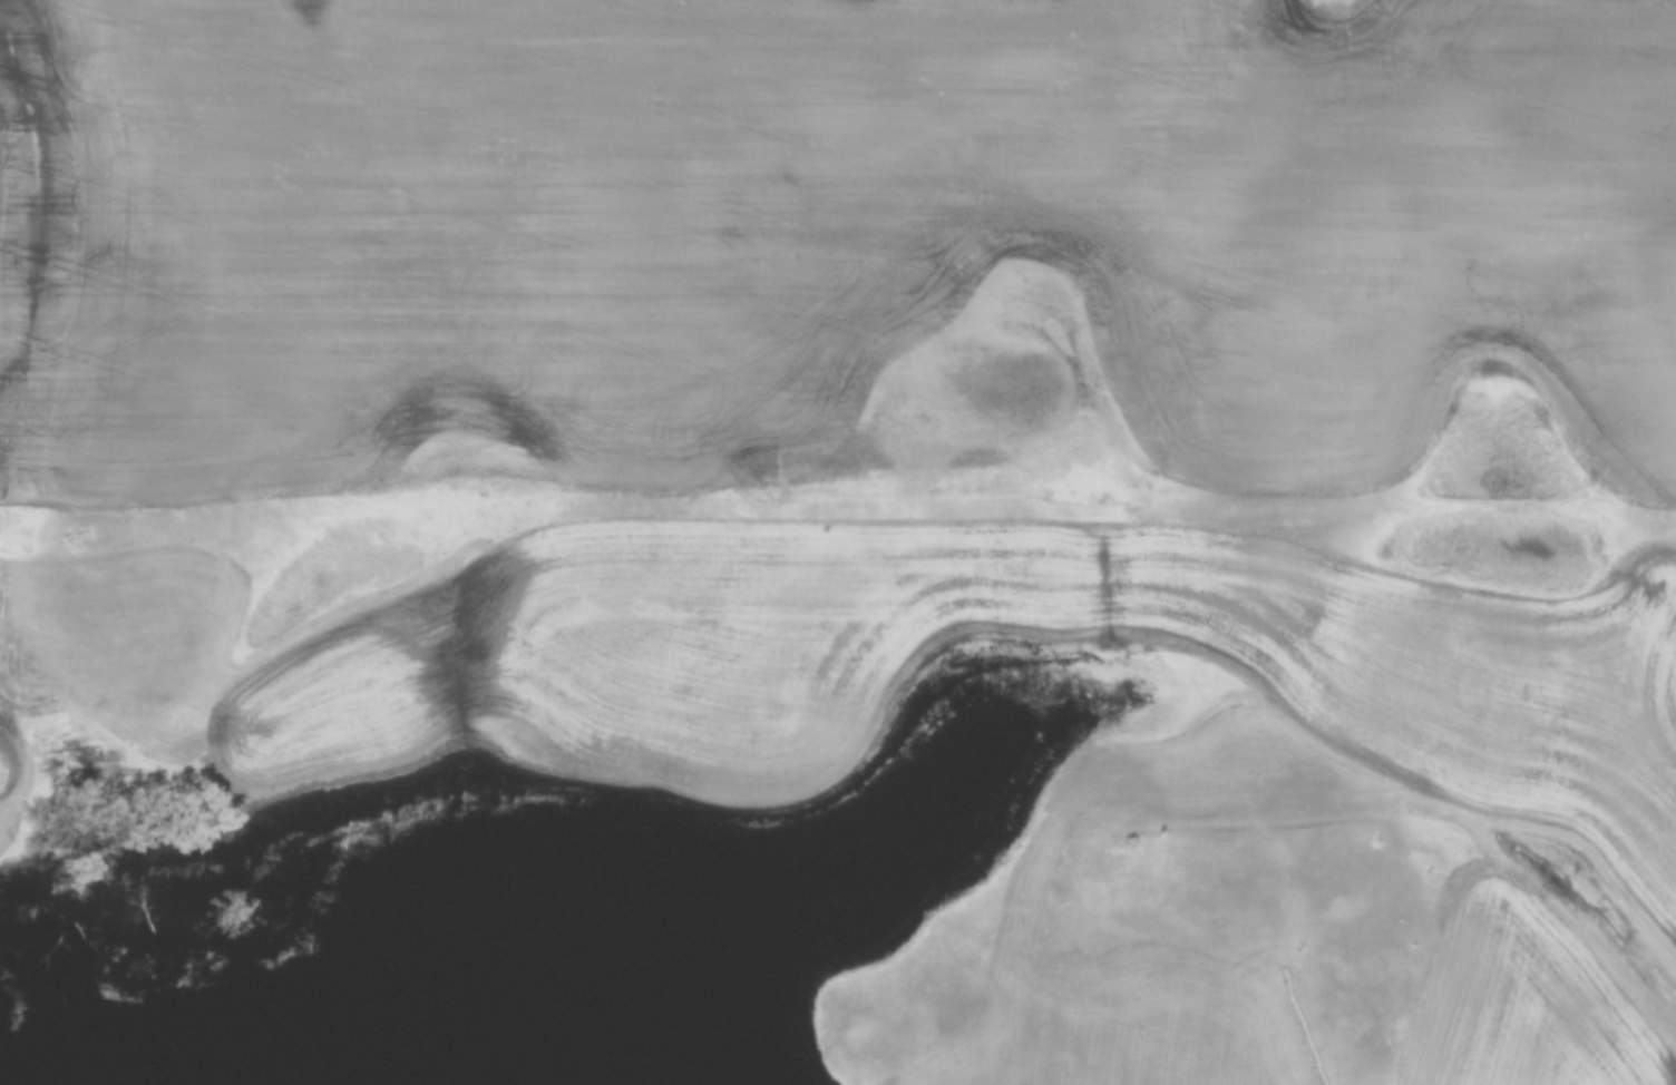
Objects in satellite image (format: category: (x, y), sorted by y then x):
road: (838, 534)

